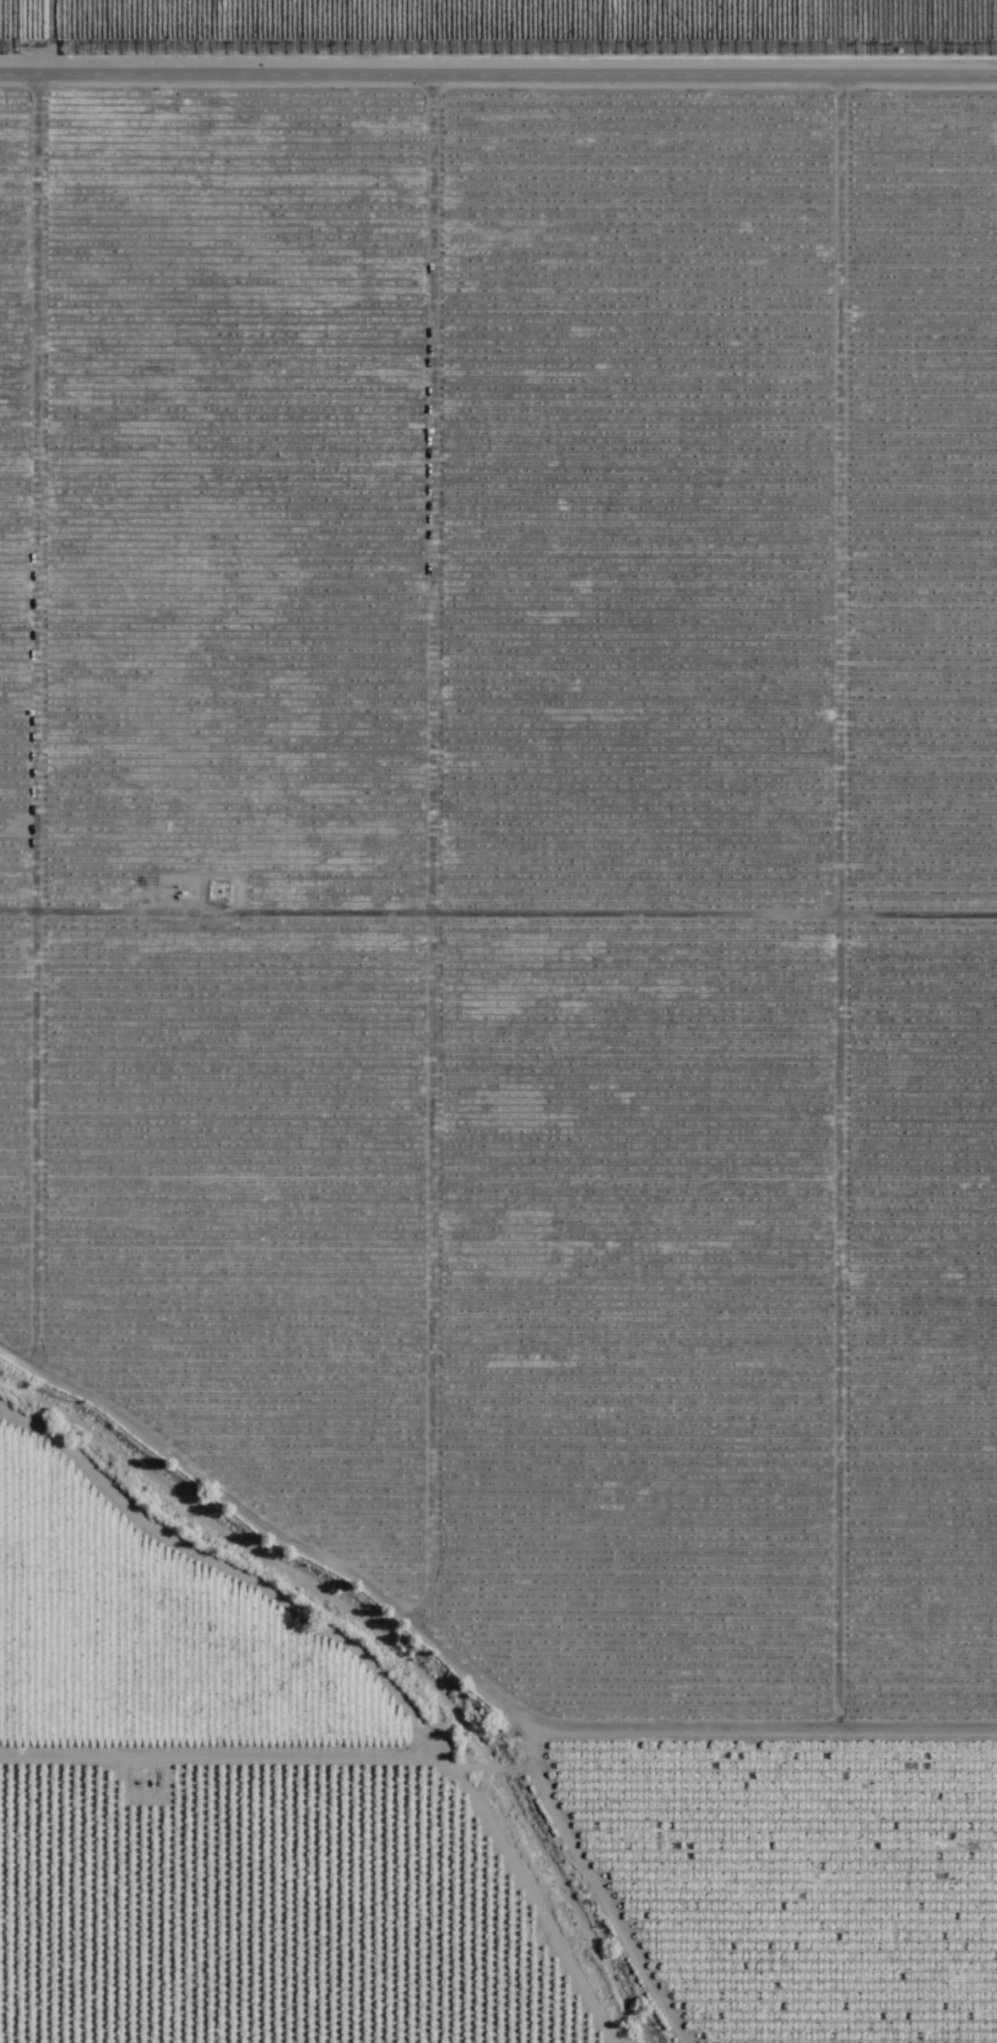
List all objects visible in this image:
road: (498, 79)
power tower: (23, 388)
power tower: (2, 824)
crop: (516, 951)
road: (488, 1763)
road: (486, 1921)

